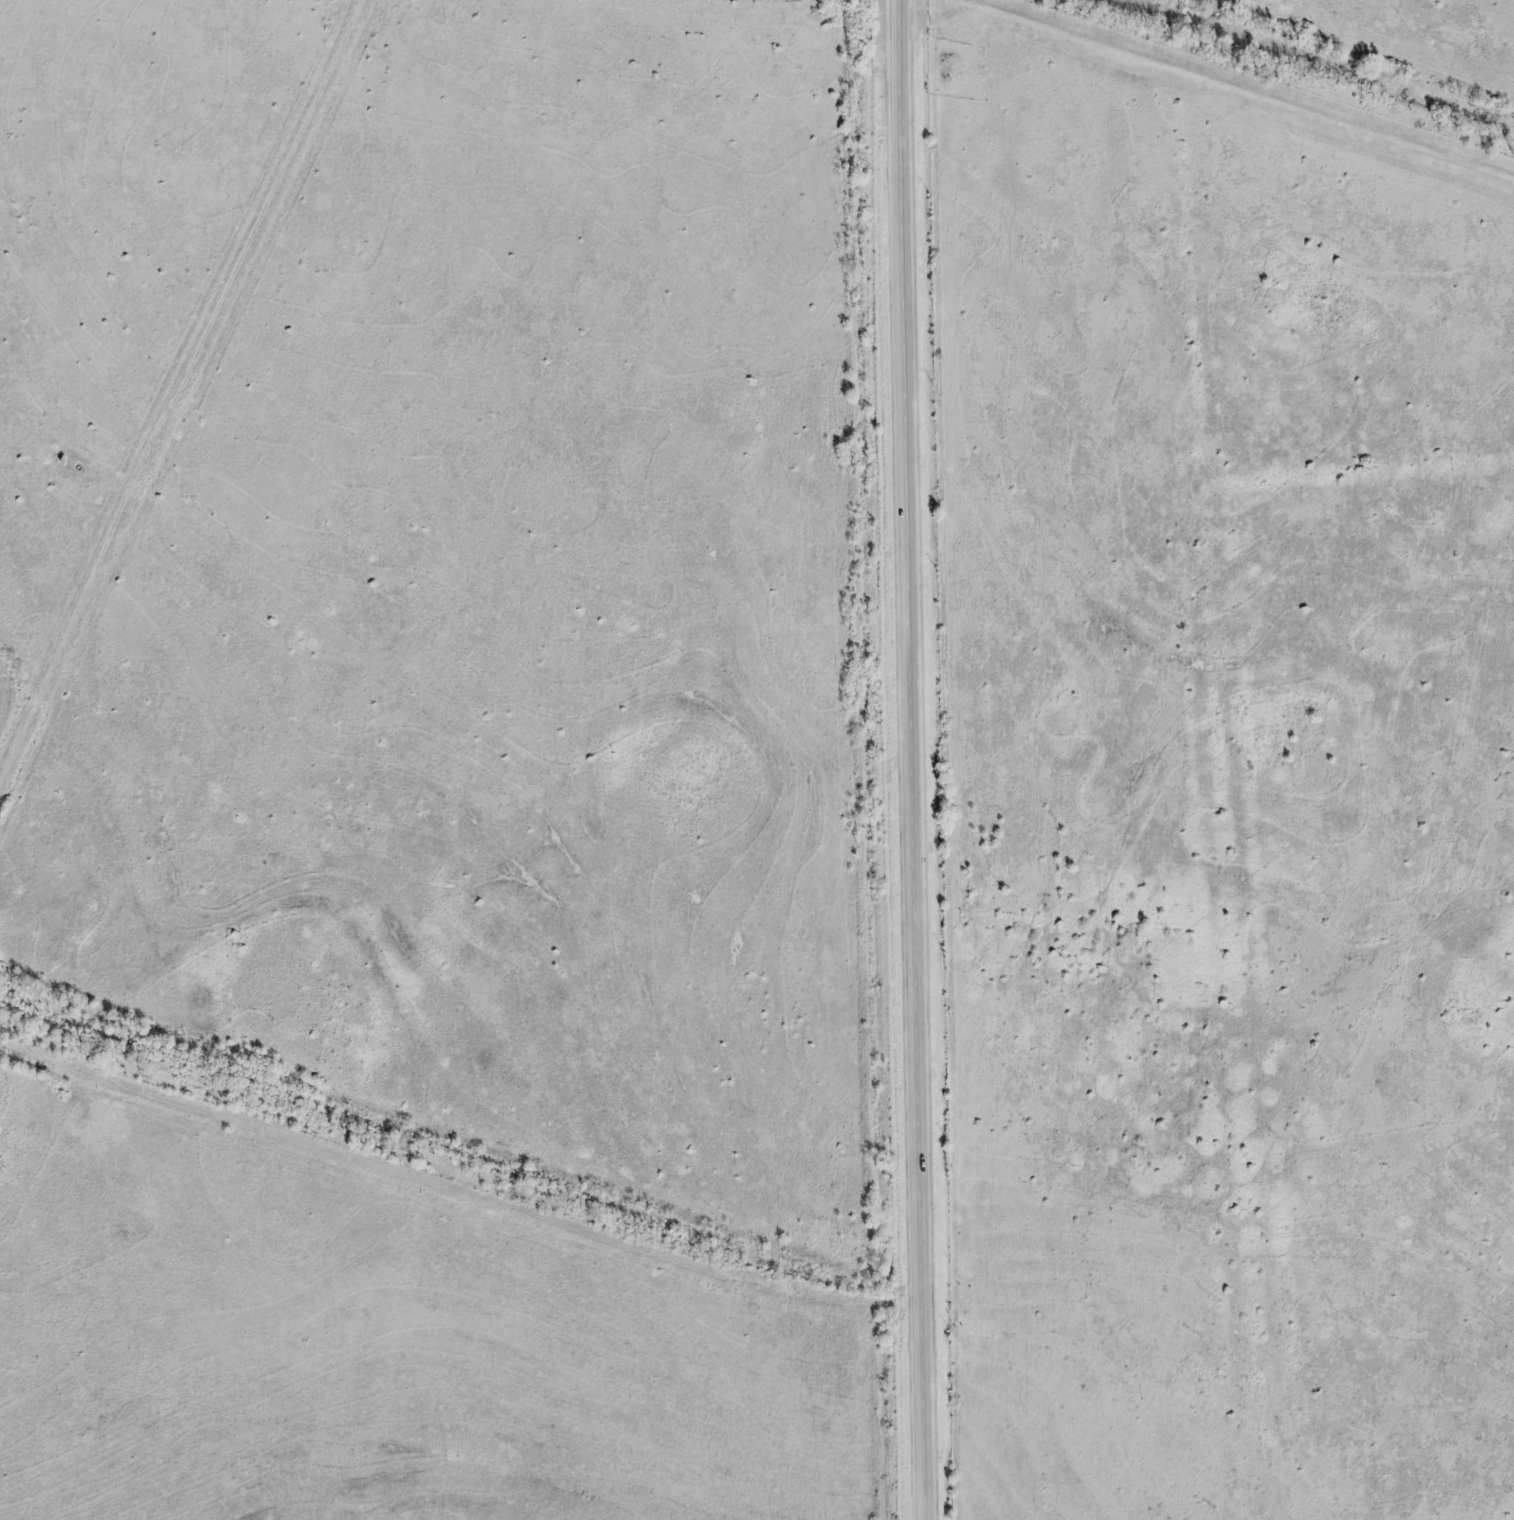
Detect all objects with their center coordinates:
road: (1237, 88)
road: (185, 396)
road: (909, 760)
road: (456, 1191)

